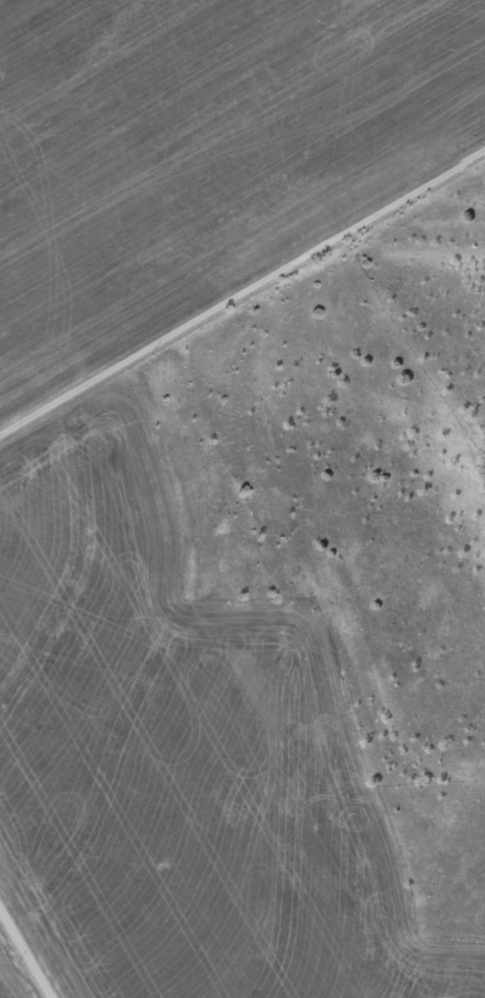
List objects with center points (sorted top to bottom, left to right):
road: (27, 950)

